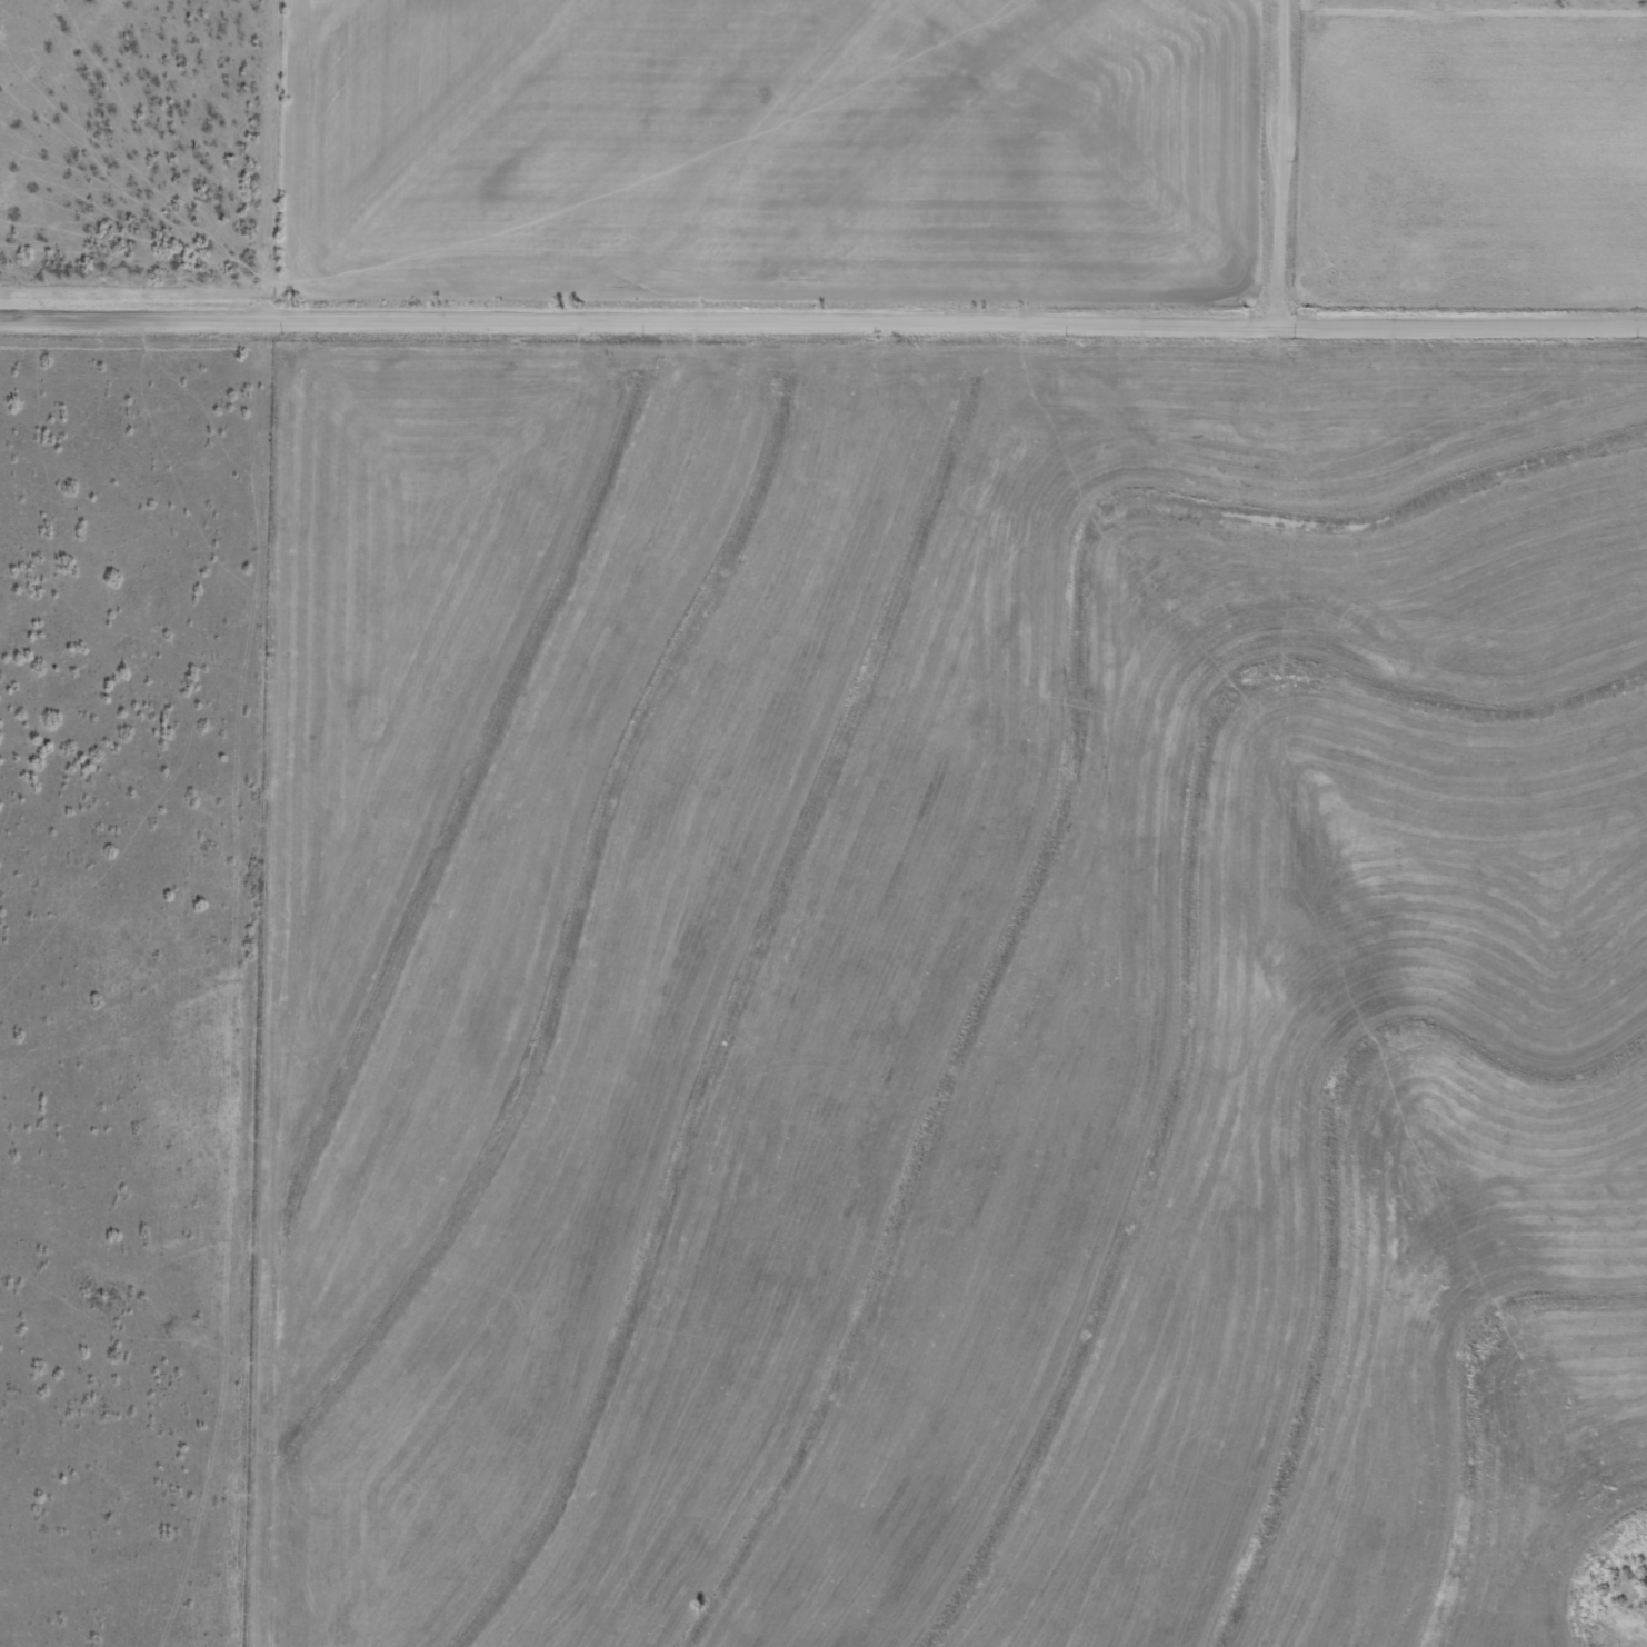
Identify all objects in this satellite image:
road: (1290, 162)
road: (824, 318)
road: (1258, 999)

